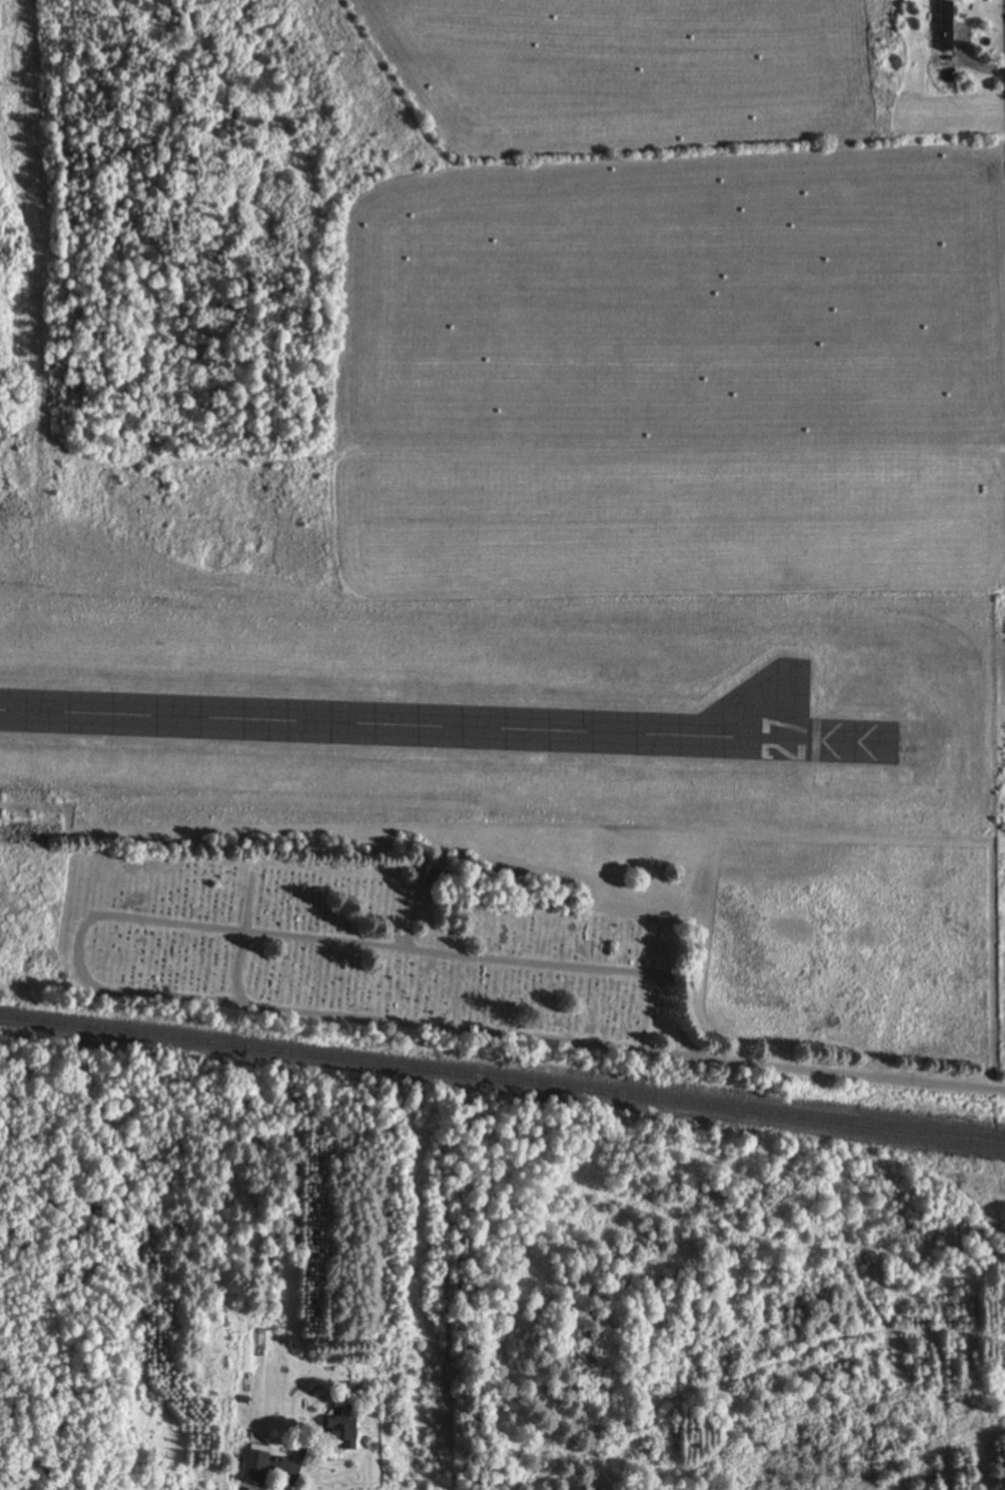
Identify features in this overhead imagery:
building: (946, 27)
park: (28, 117)
airport: (479, 643)
airport runway: (442, 727)
road: (86, 932)
park: (542, 948)
road: (853, 1073)
railway: (502, 1079)
building: (264, 1344)
building: (341, 1429)
building: (255, 1465)

